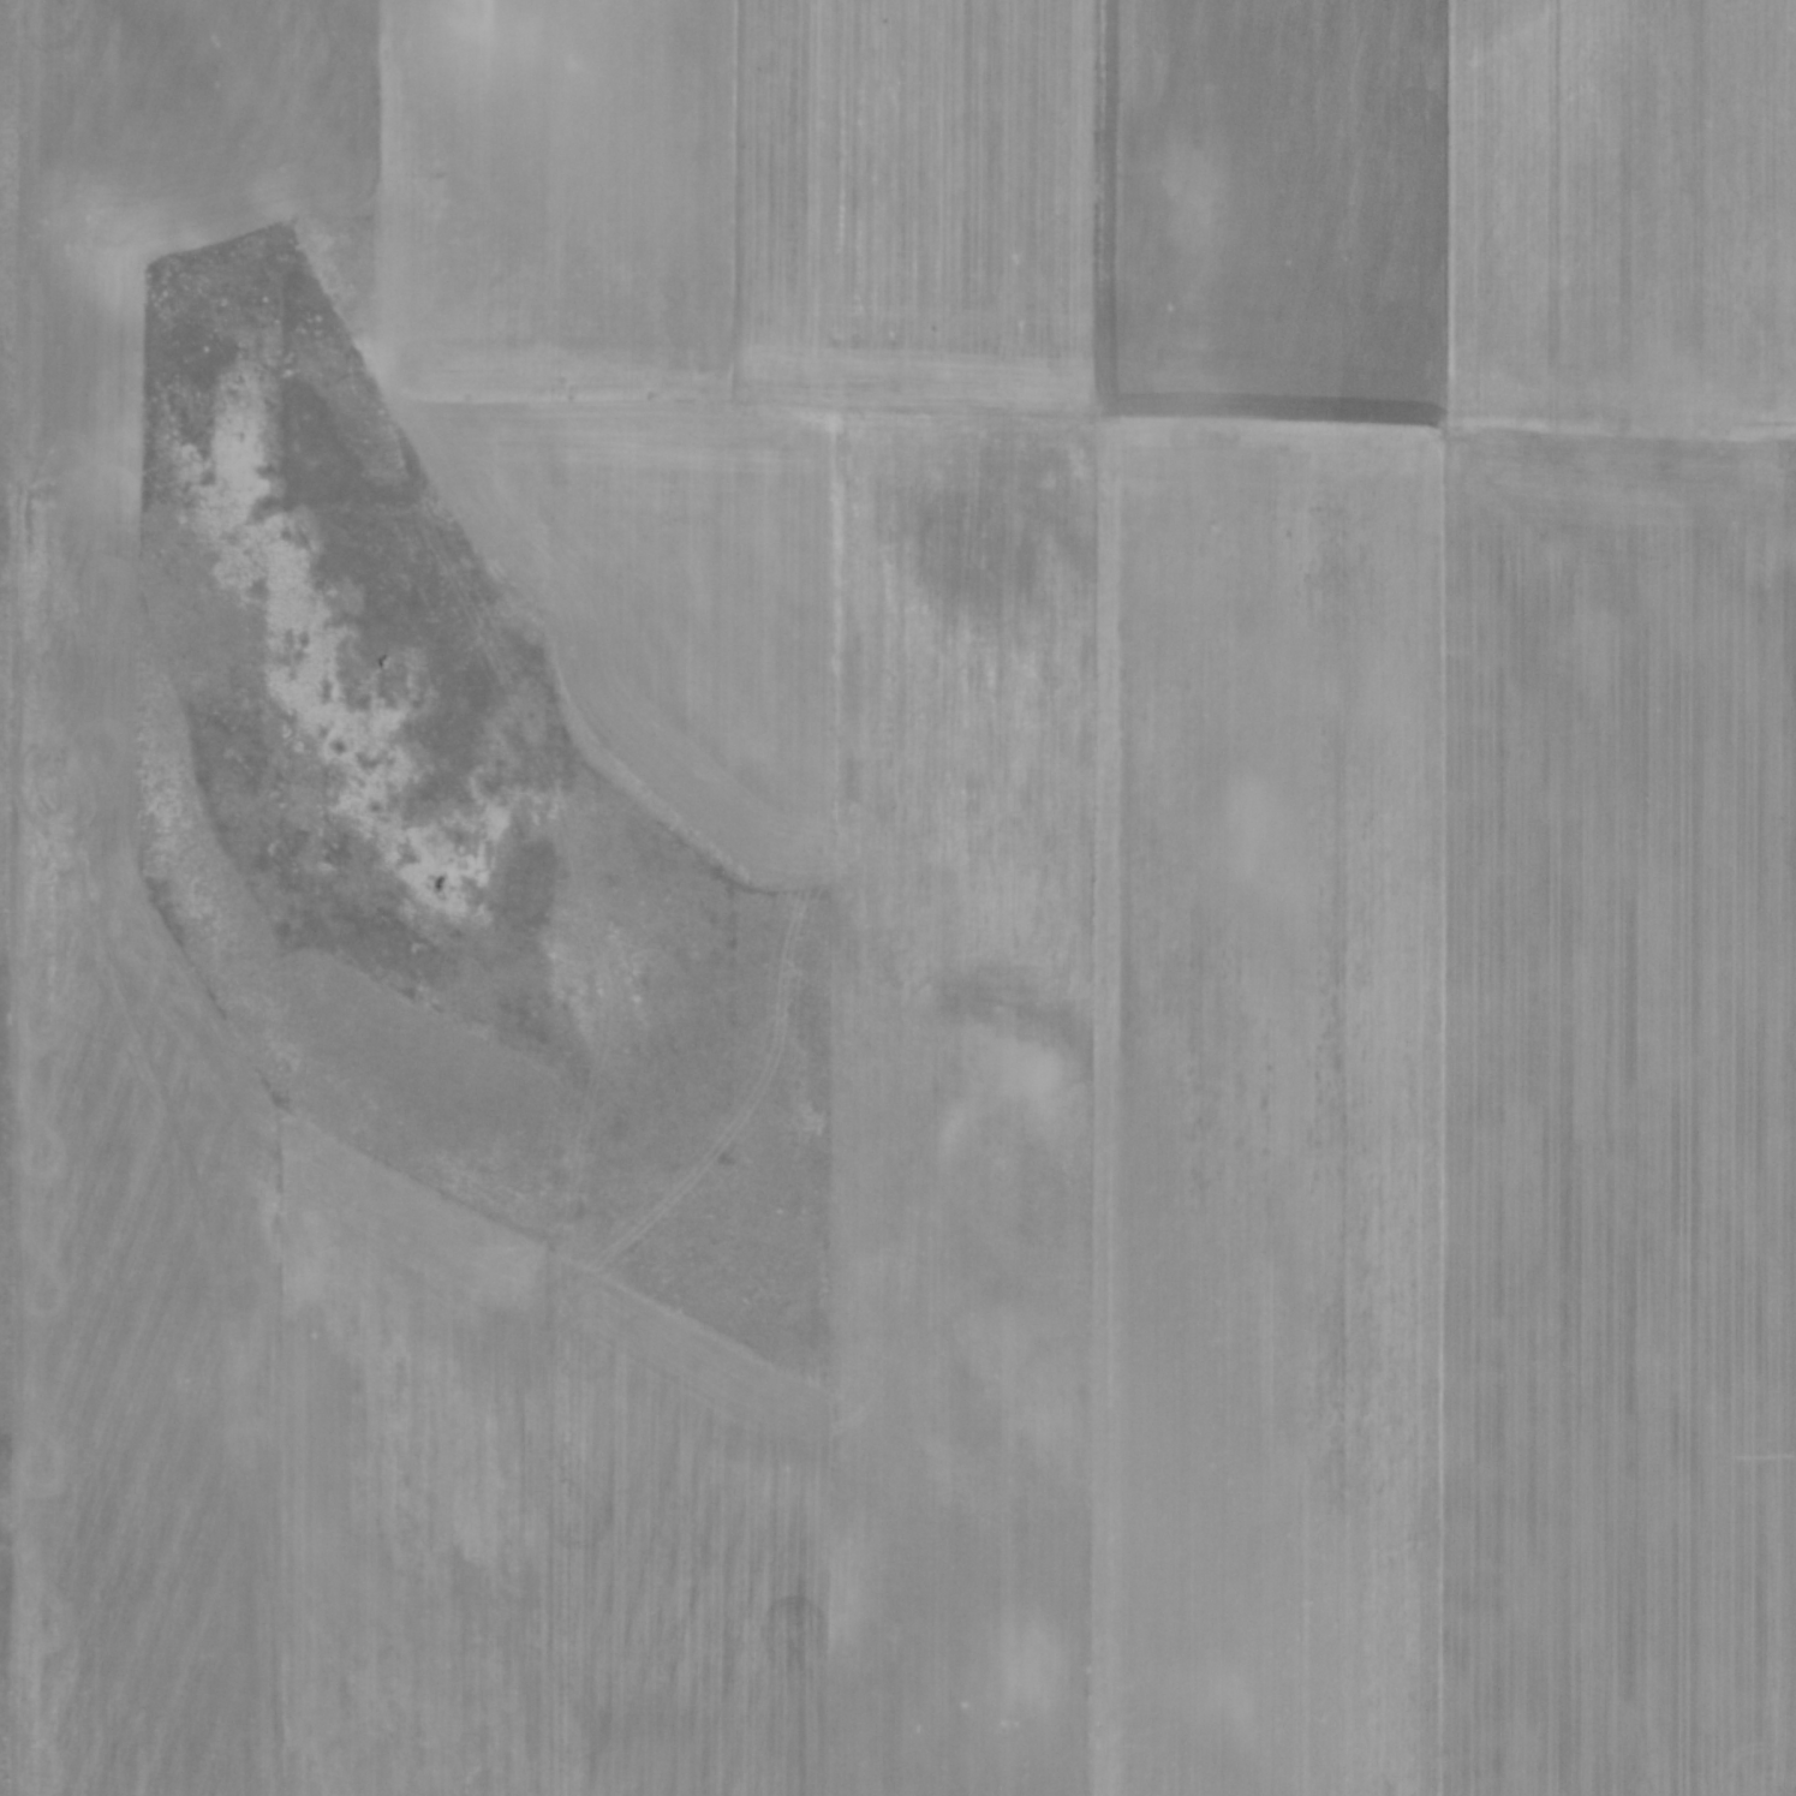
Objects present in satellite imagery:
crop: (902, 896)

